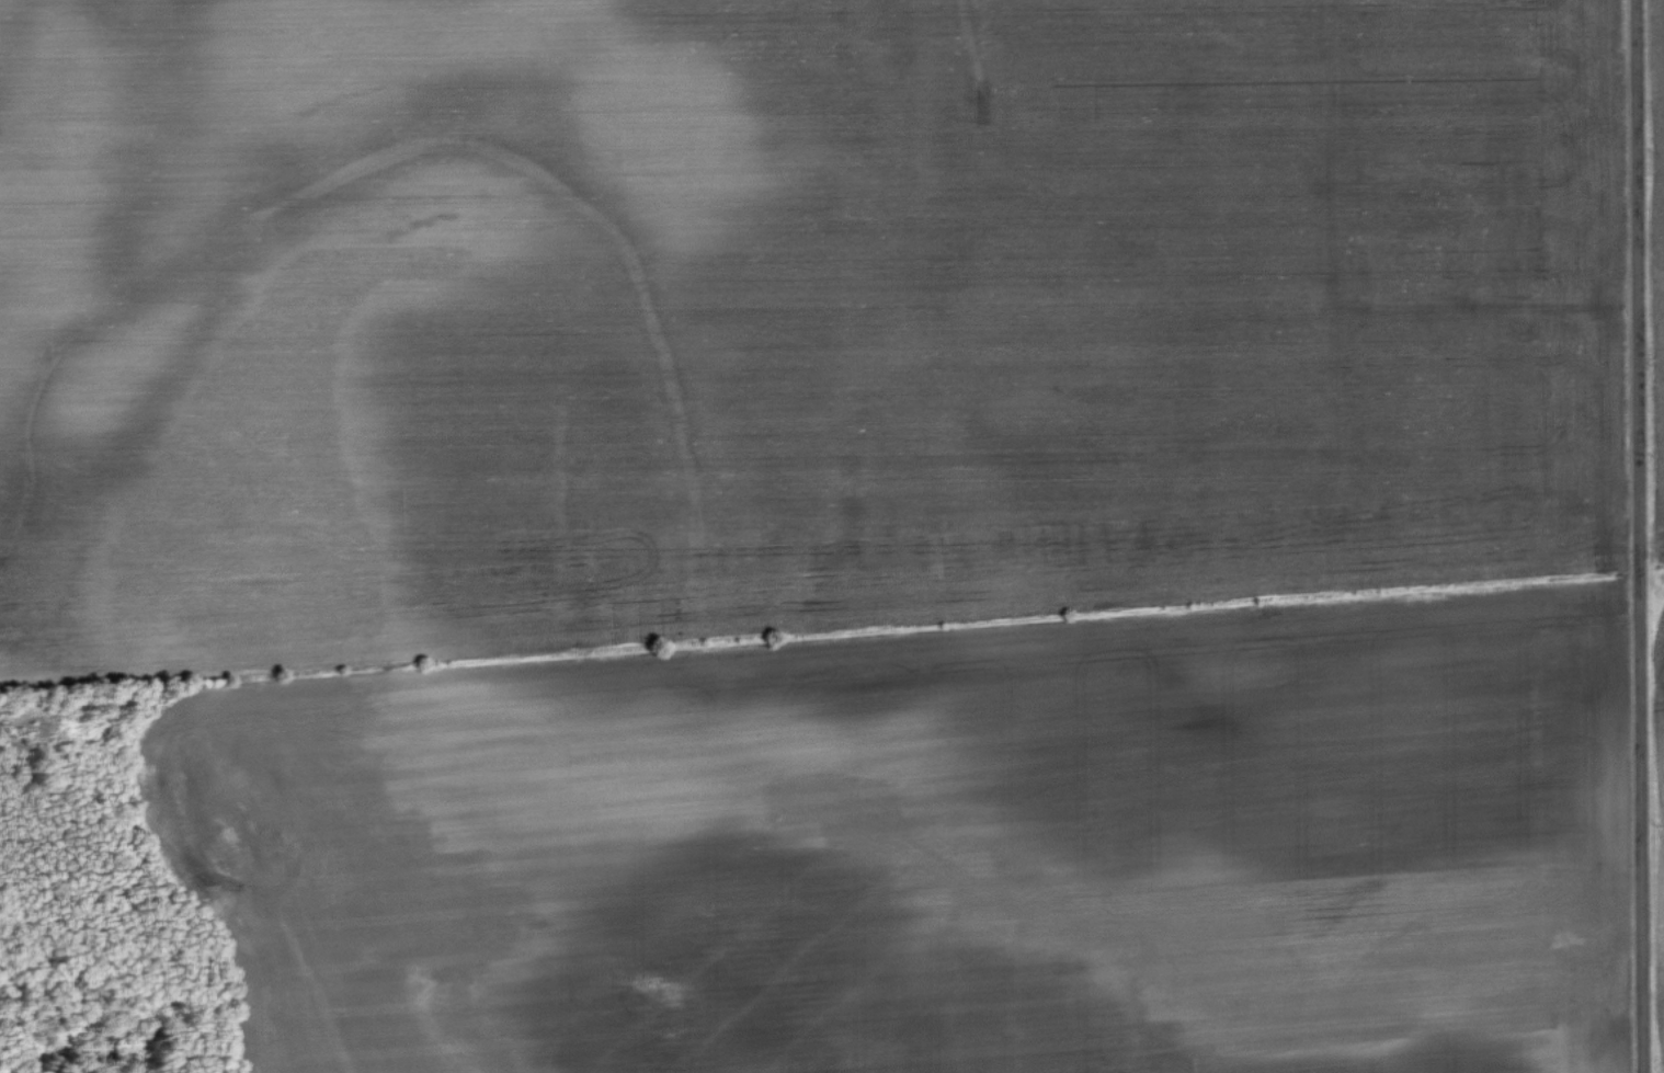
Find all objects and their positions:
road: (1640, 536)

